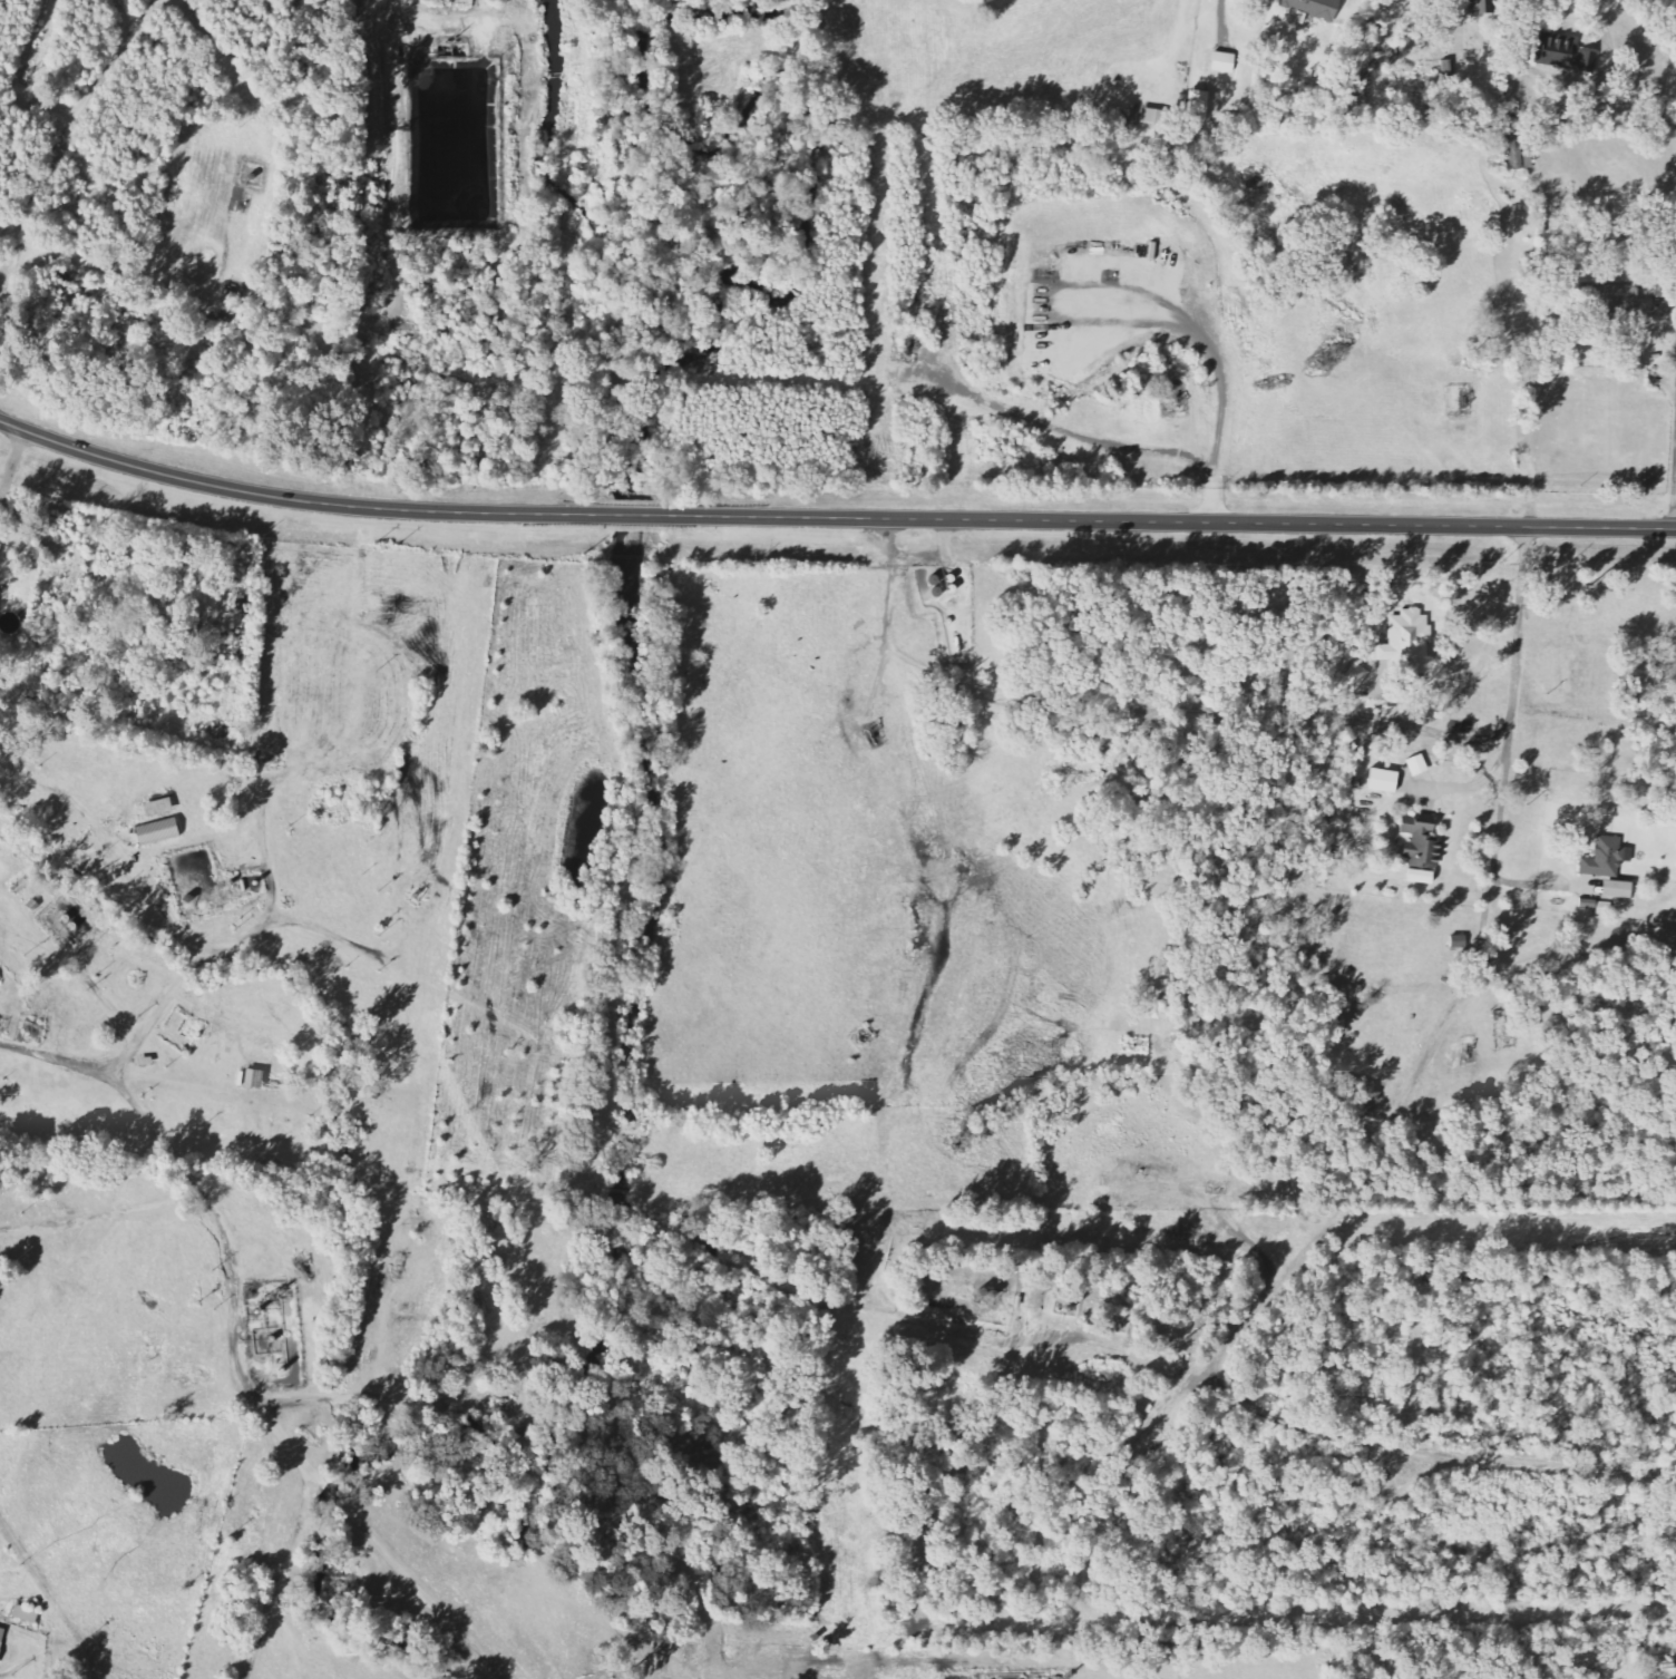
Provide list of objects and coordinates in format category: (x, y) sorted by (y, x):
building: (1481, 6)
building: (1316, 8)
road: (1602, 26)
building: (1569, 55)
building: (1200, 106)
building: (1157, 117)
building: (1625, 301)
road: (1675, 328)
road: (327, 502)
road: (1675, 517)
road: (1170, 523)
building: (1409, 644)
building: (1356, 679)
building: (1420, 767)
building: (1385, 782)
building: (159, 833)
building: (1423, 846)
building: (1608, 859)
building: (1619, 891)
building: (27, 1614)

